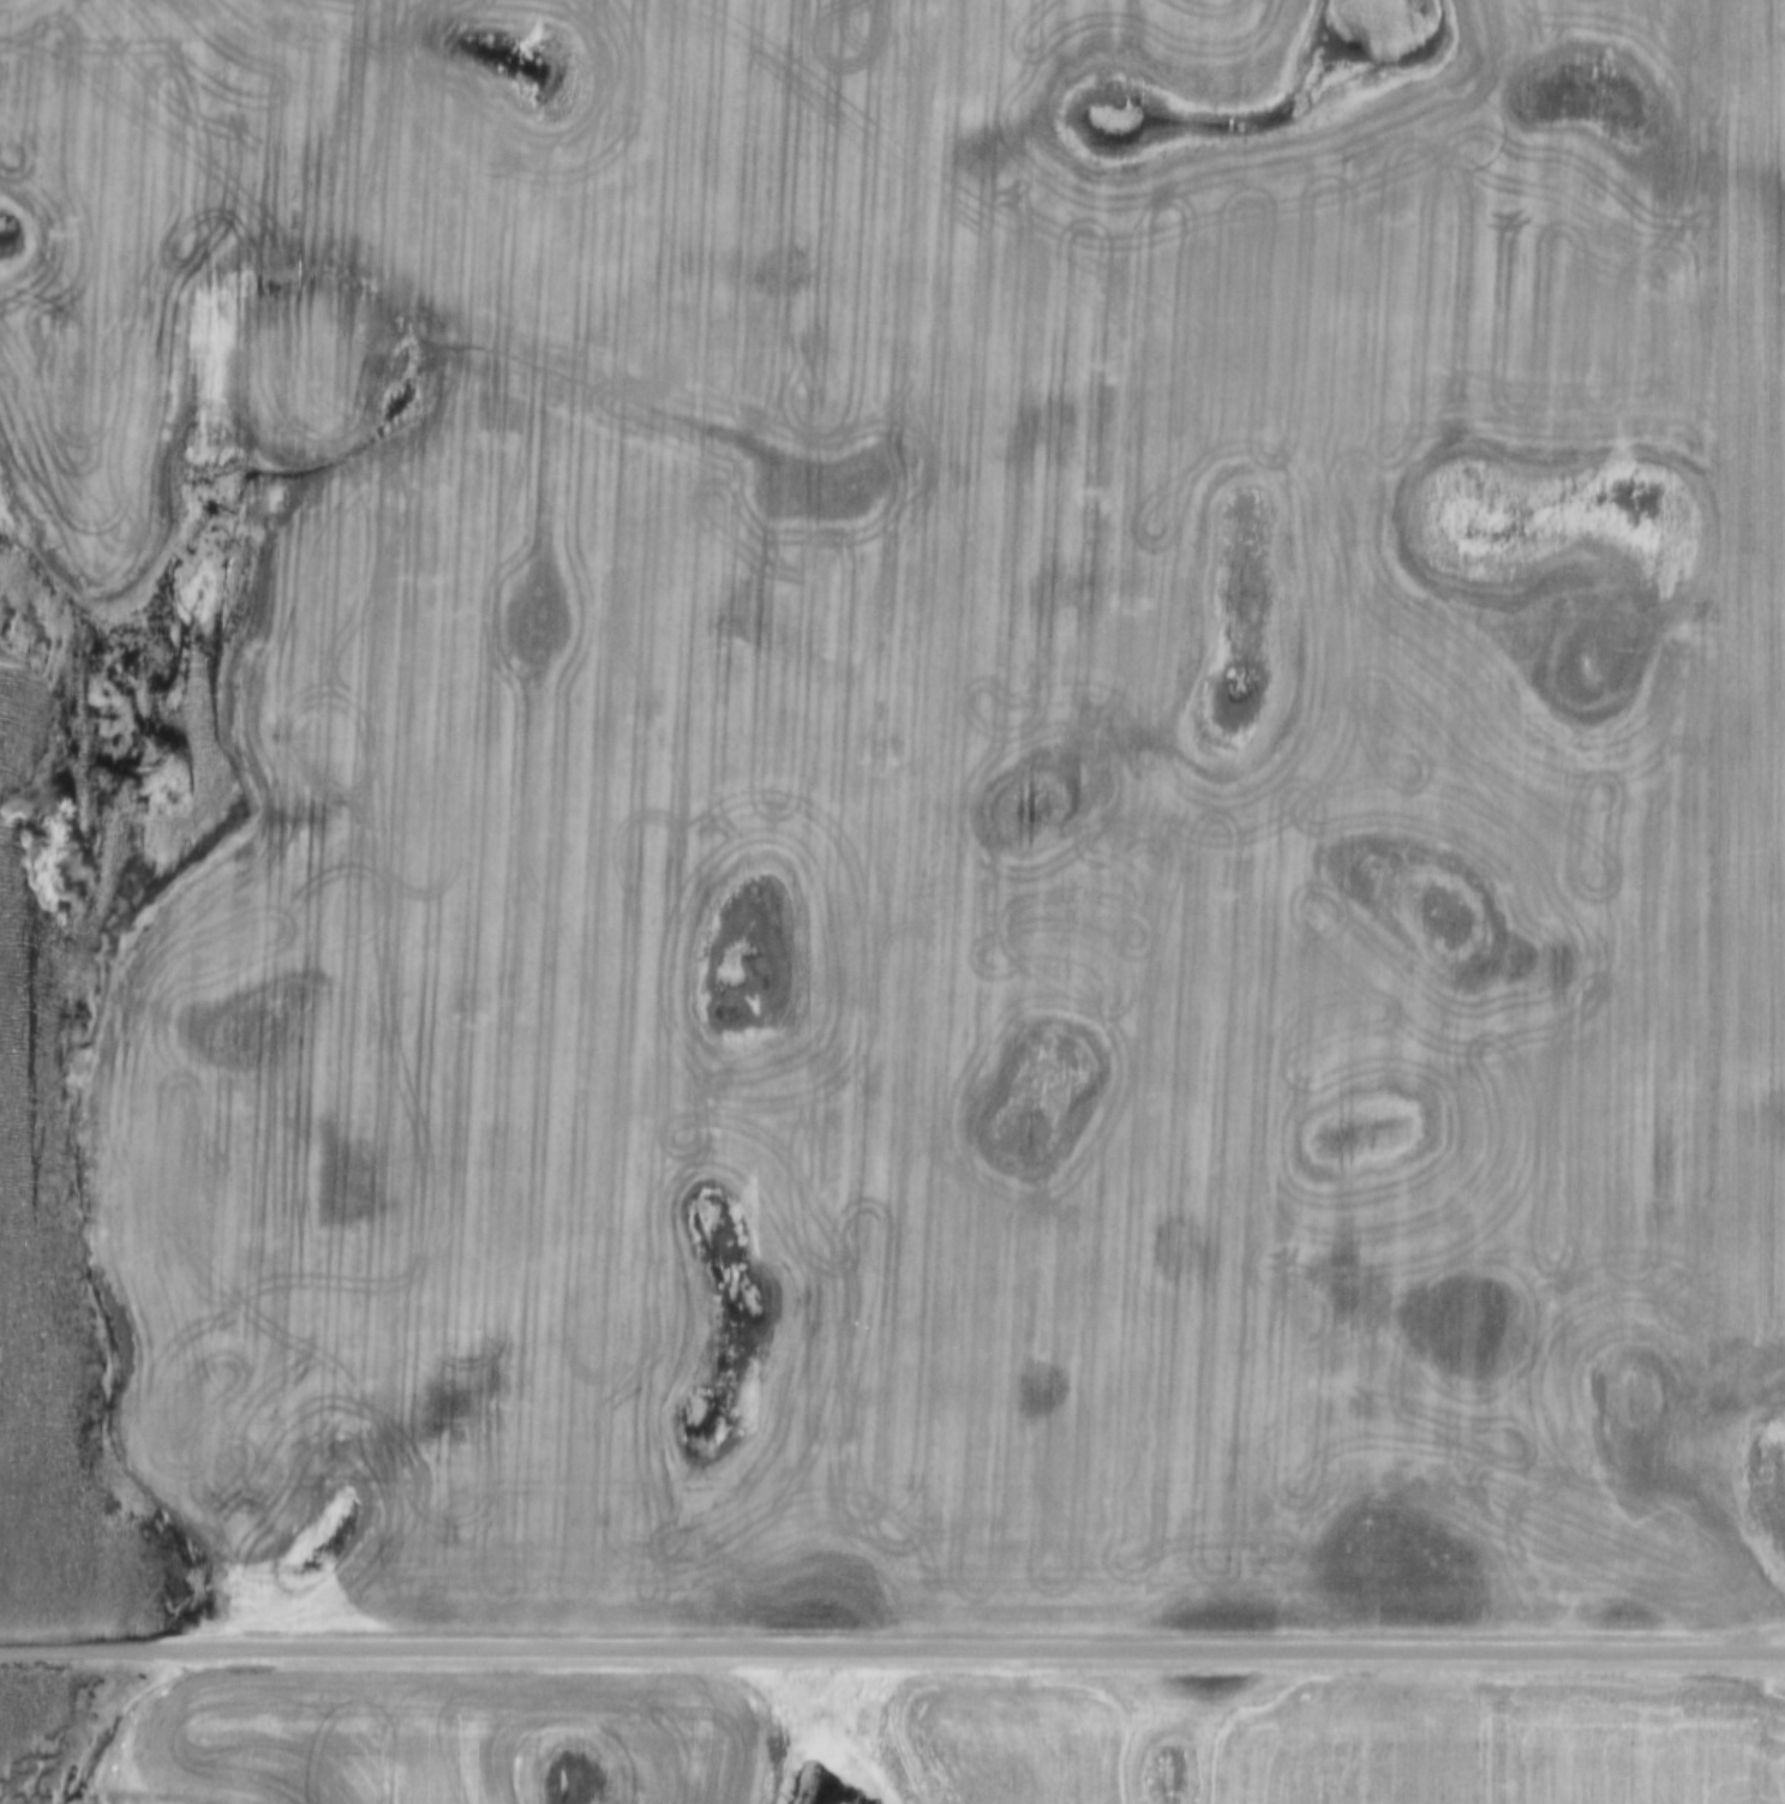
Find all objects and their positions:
road: (892, 1650)

